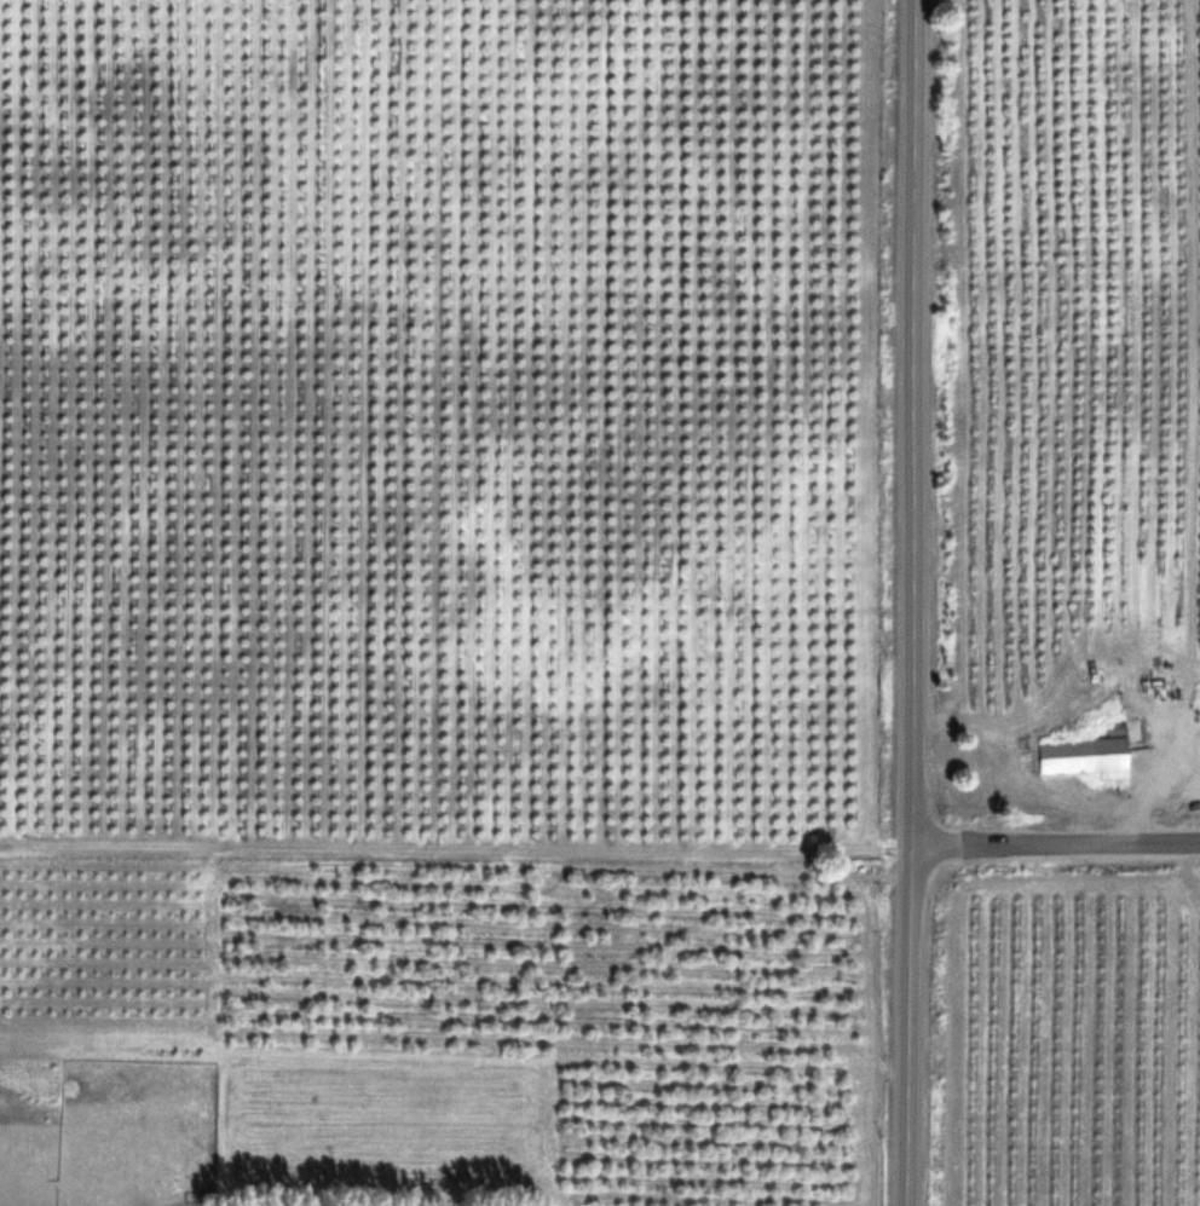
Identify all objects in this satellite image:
road: (908, 602)
building: (1086, 756)
road: (1054, 843)

